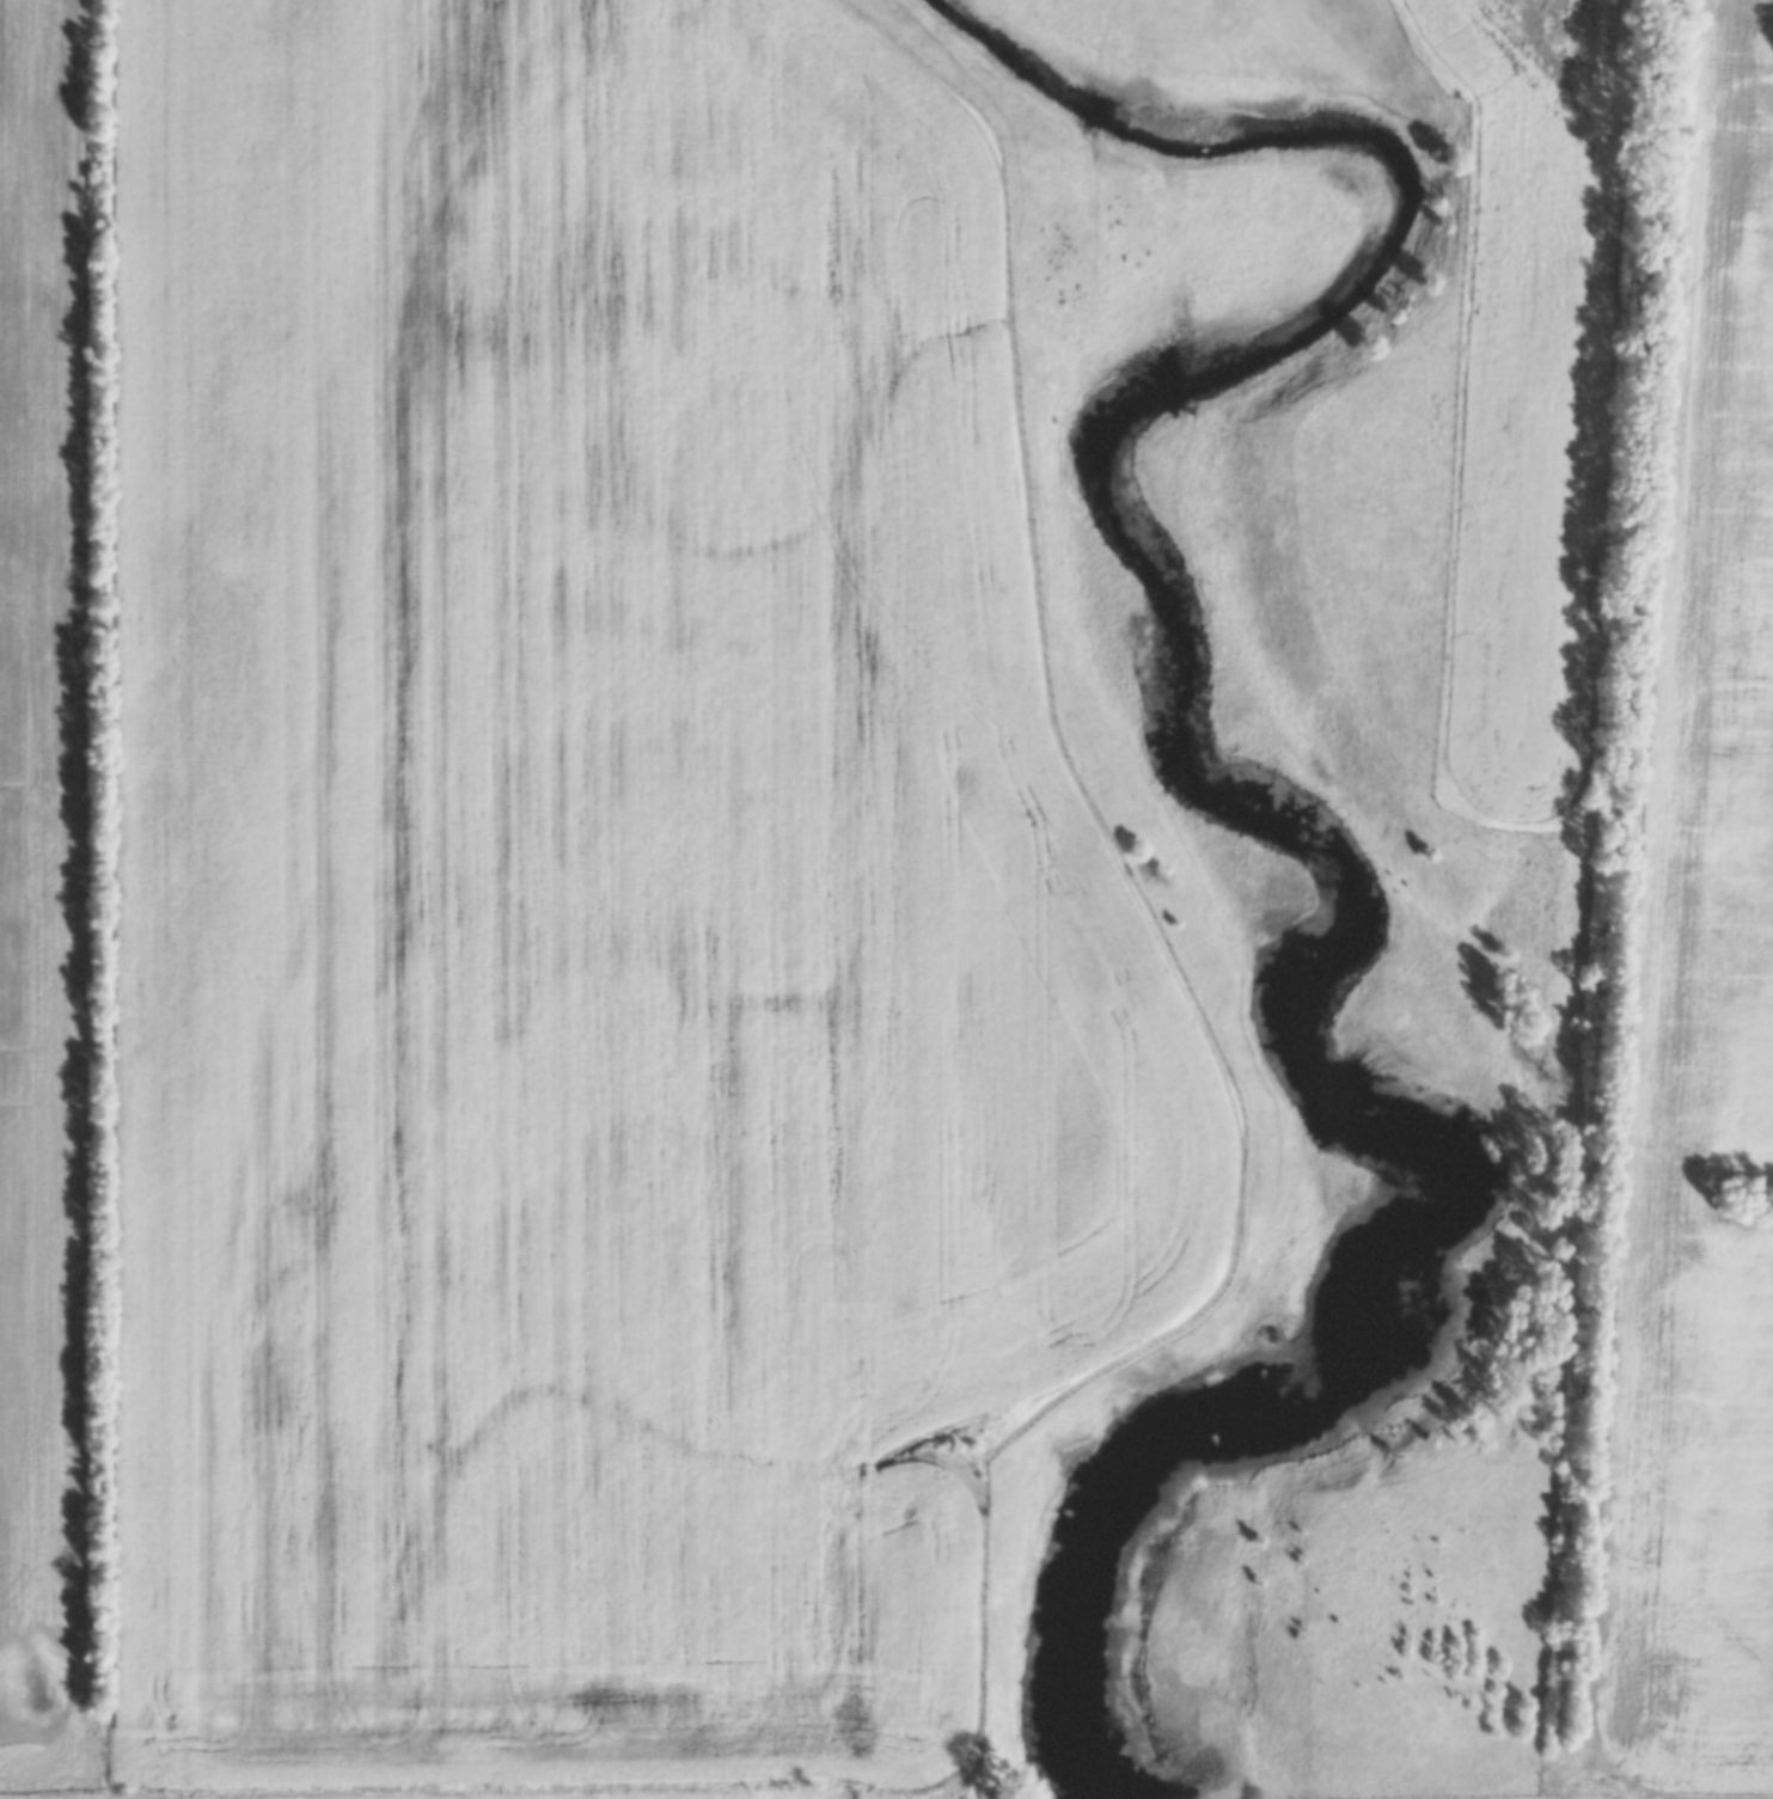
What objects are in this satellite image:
road: (1698, 1781)

